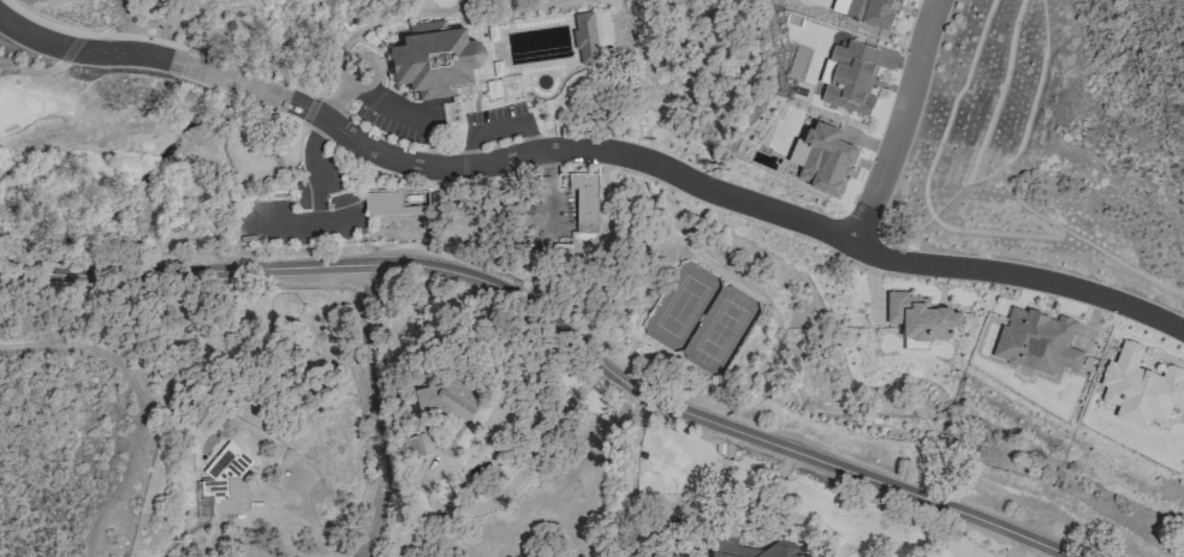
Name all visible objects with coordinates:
building: (897, 0)
building: (856, 6)
road: (540, 7)
road: (424, 12)
road: (442, 13)
building: (591, 35)
road: (346, 42)
road: (161, 43)
road: (79, 55)
building: (435, 60)
road: (49, 71)
building: (849, 73)
road: (227, 84)
road: (364, 91)
road: (525, 110)
road: (441, 122)
road: (908, 122)
building: (821, 152)
road: (290, 167)
building: (585, 202)
road: (732, 202)
building: (397, 203)
road: (325, 208)
road: (305, 246)
building: (917, 319)
road: (554, 324)
building: (1035, 342)
building: (1140, 388)
road: (375, 411)
building: (226, 480)
road: (279, 527)

